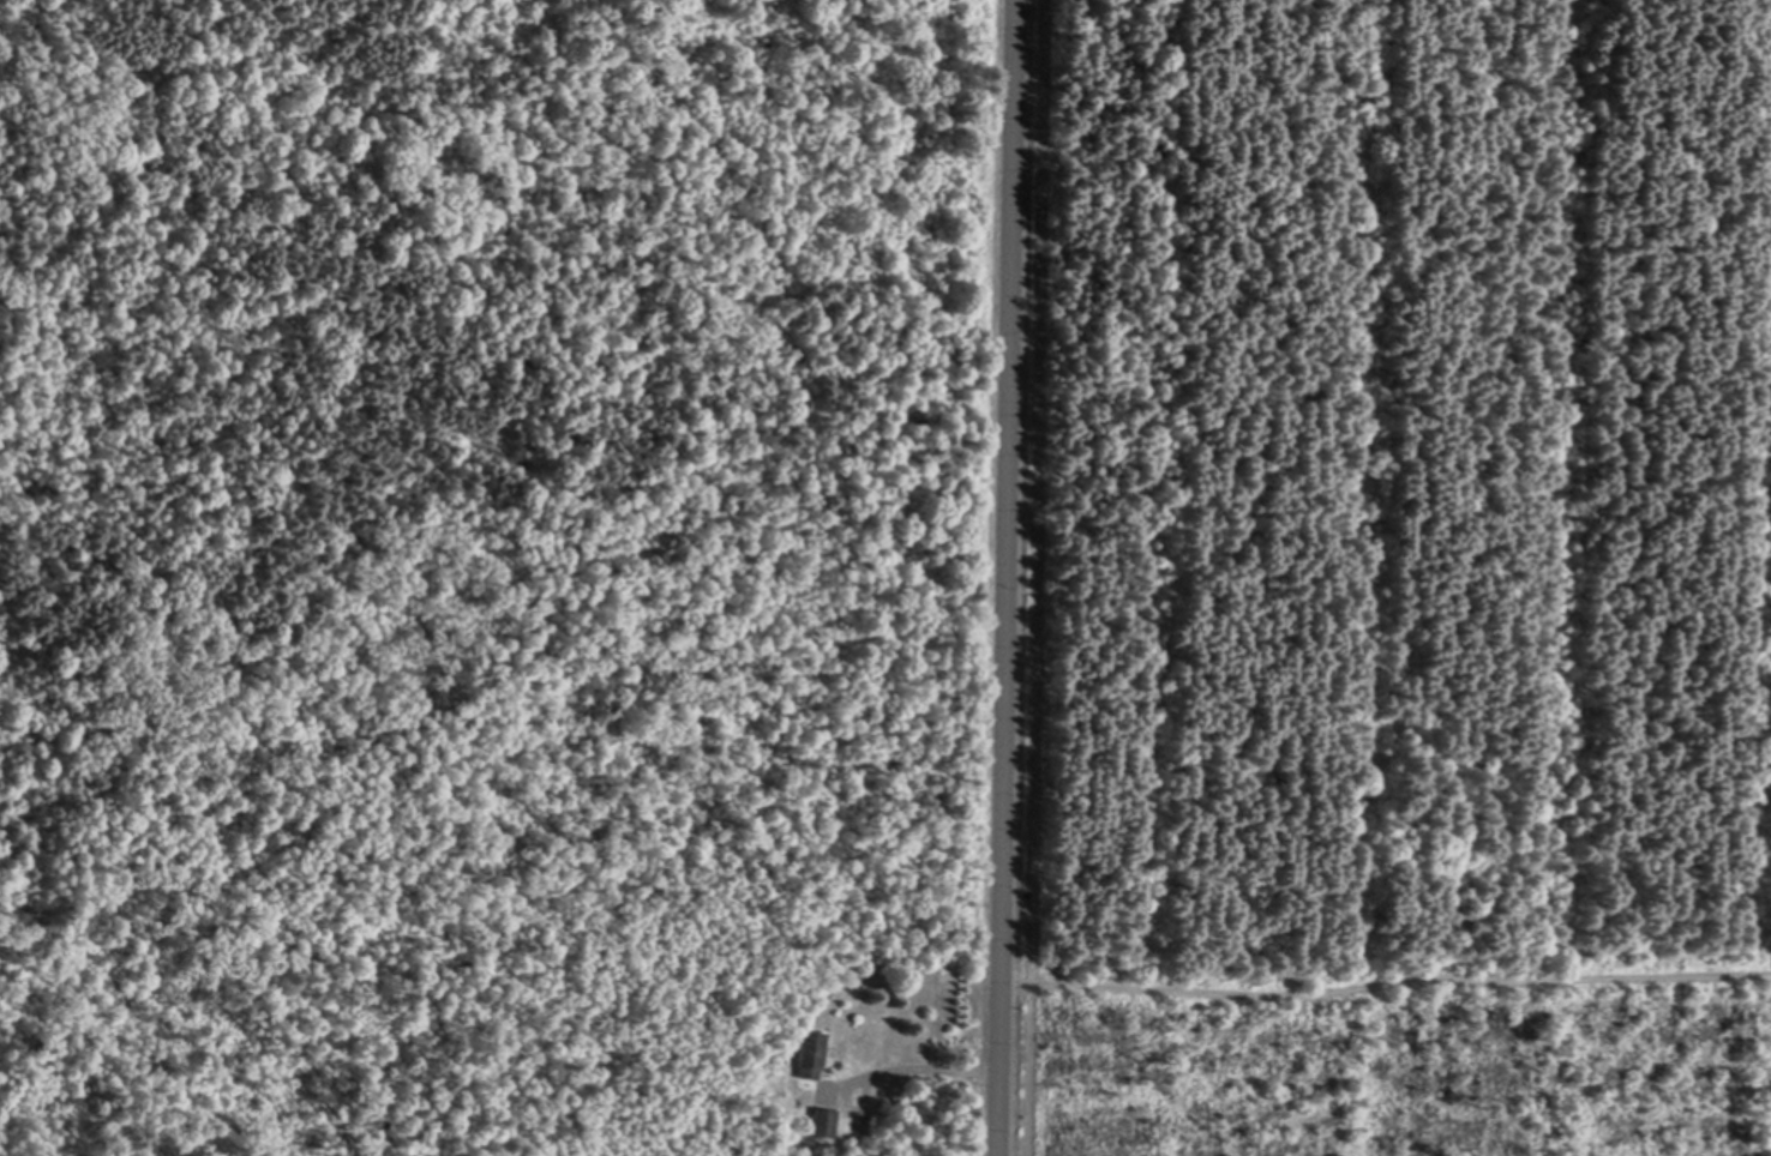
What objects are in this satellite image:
road: (1010, 578)
road: (1387, 982)
building: (814, 1054)
road: (930, 1066)
building: (826, 1122)

